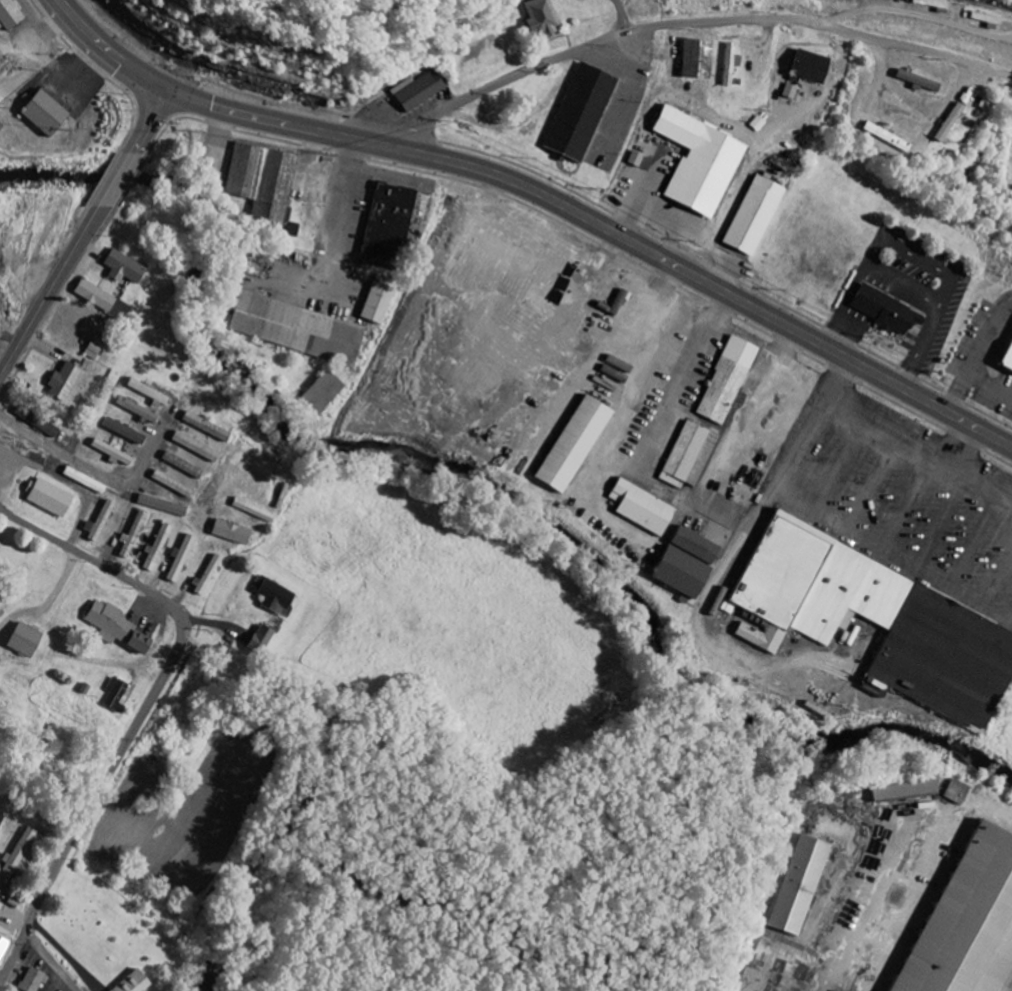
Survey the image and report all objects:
building: (935, 4)
building: (8, 15)
building: (540, 19)
building: (987, 19)
road: (697, 23)
road: (110, 51)
building: (697, 60)
building: (731, 65)
building: (809, 67)
building: (917, 82)
building: (422, 90)
traffic signals: (169, 91)
building: (790, 92)
building: (40, 114)
building: (579, 114)
road: (151, 122)
building: (948, 123)
building: (885, 138)
building: (697, 163)
road: (117, 180)
building: (262, 186)
building: (753, 217)
building: (393, 223)
road: (605, 228)
building: (43, 237)
building: (121, 268)
road: (50, 291)
building: (100, 301)
building: (617, 304)
building: (374, 305)
building: (885, 312)
building: (295, 330)
building: (91, 348)
building: (1008, 359)
building: (725, 382)
building: (61, 383)
building: (145, 393)
building: (318, 394)
building: (134, 410)
building: (203, 428)
building: (121, 432)
building: (570, 446)
building: (193, 448)
building: (109, 453)
building: (686, 457)
building: (81, 482)
building: (170, 485)
river: (481, 487)
building: (46, 499)
building: (160, 506)
building: (639, 509)
building: (251, 512)
building: (96, 525)
building: (228, 533)
building: (130, 537)
building: (155, 549)
building: (178, 560)
building: (683, 565)
road: (104, 567)
building: (783, 569)
building: (205, 575)
building: (853, 594)
building: (270, 598)
building: (104, 624)
building: (763, 636)
building: (259, 640)
building: (21, 641)
building: (135, 644)
building: (948, 658)
building: (113, 695)
building: (901, 791)
building: (955, 792)
road: (86, 810)
building: (0, 818)
building: (15, 852)
building: (797, 885)
road: (3, 890)
building: (965, 920)
building: (2, 945)
road: (51, 960)
building: (203, 977)
building: (30, 980)
building: (131, 982)

